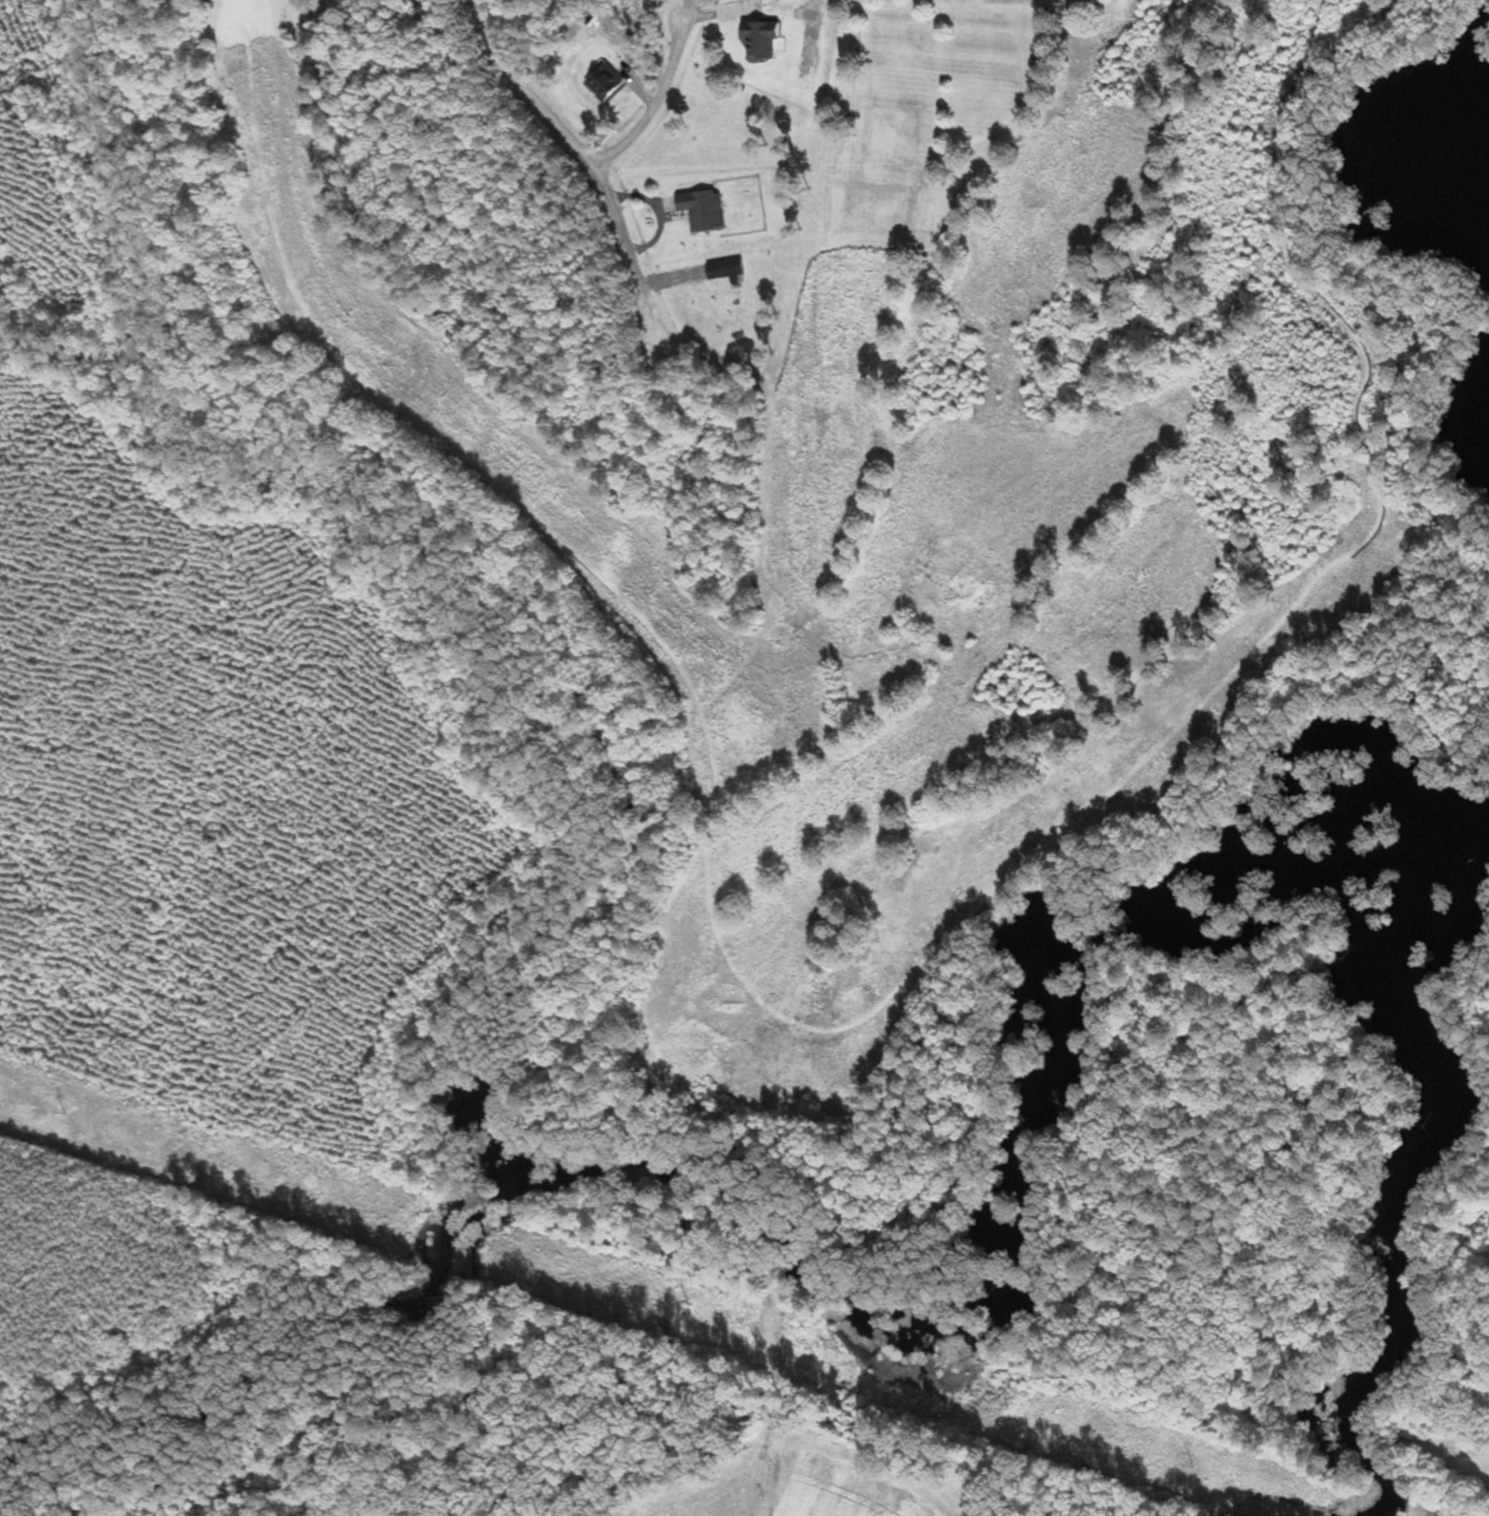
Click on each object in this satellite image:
building: (764, 39)
road: (662, 95)
road: (569, 141)
building: (705, 209)

